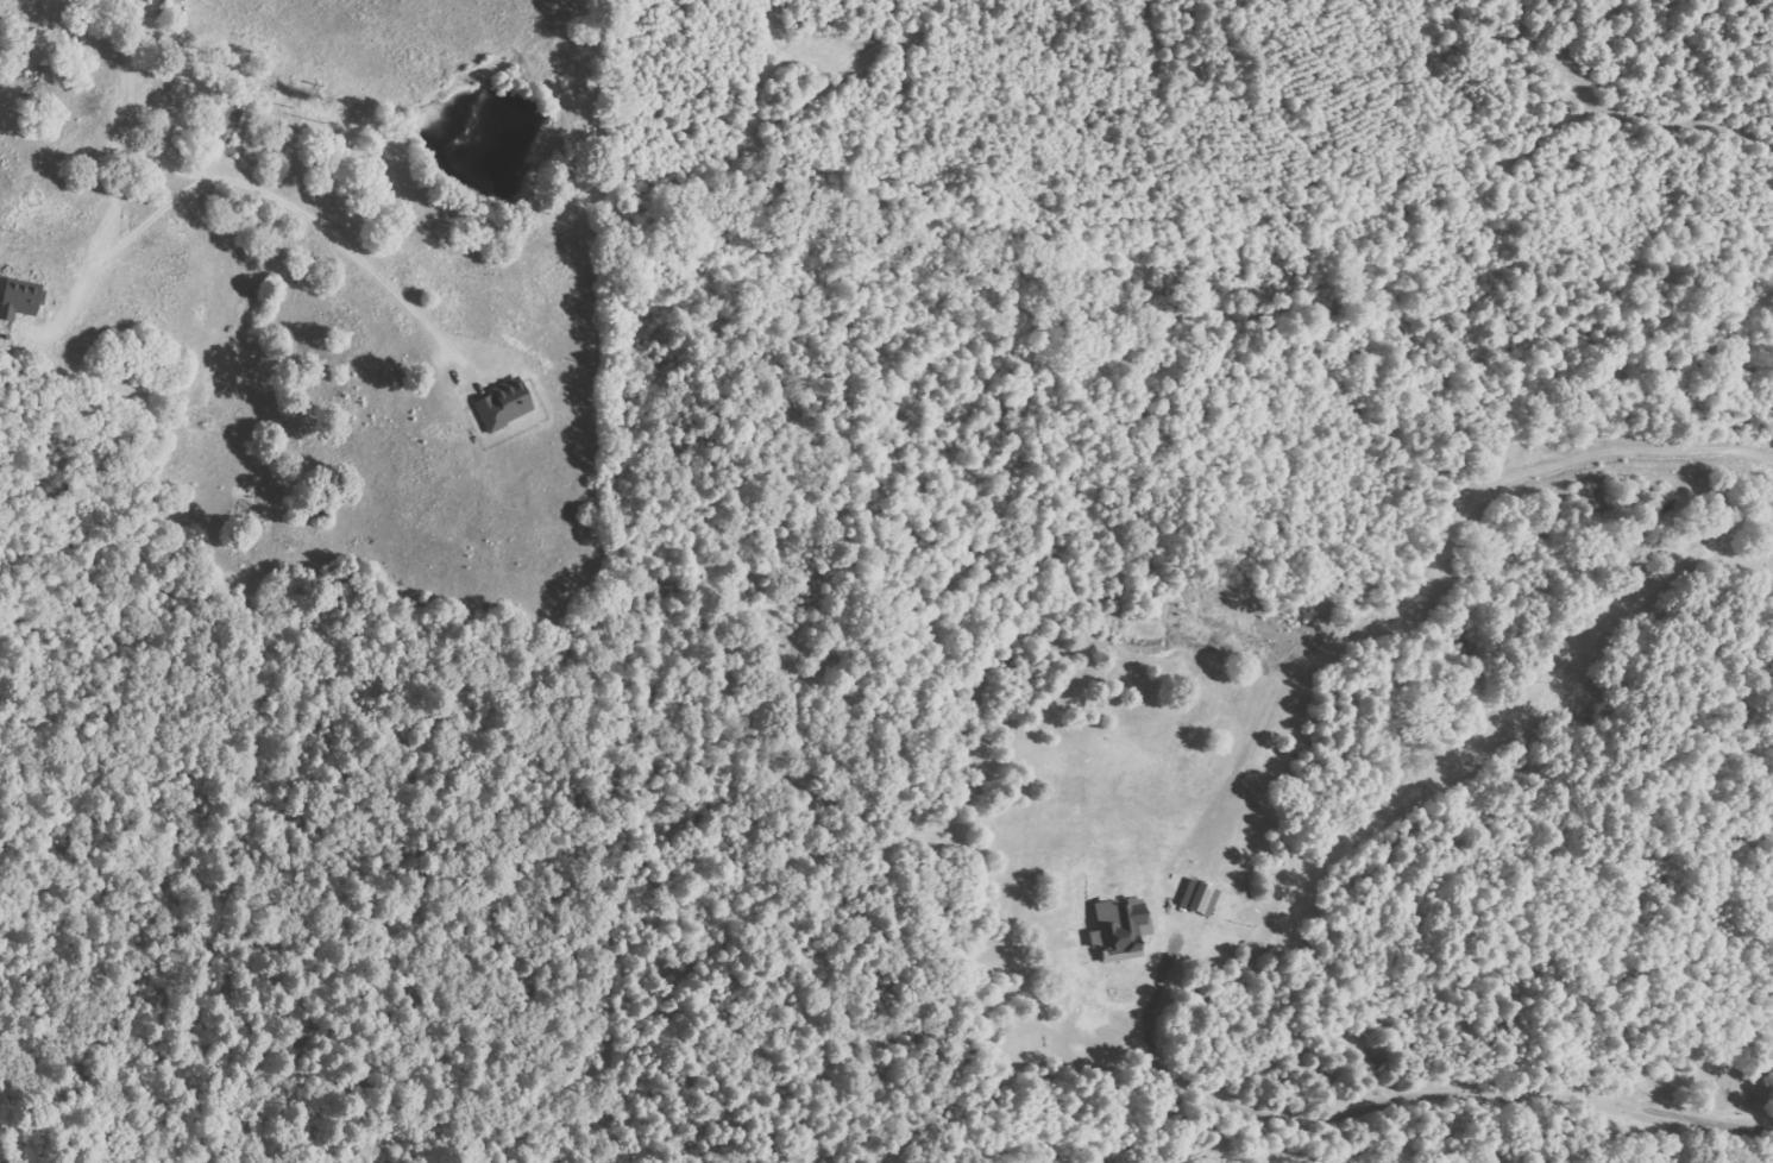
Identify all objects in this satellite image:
building: (176, 0)
building: (224, 124)
road: (55, 142)
building: (17, 298)
building: (499, 406)
building: (1197, 898)
building: (1115, 931)

